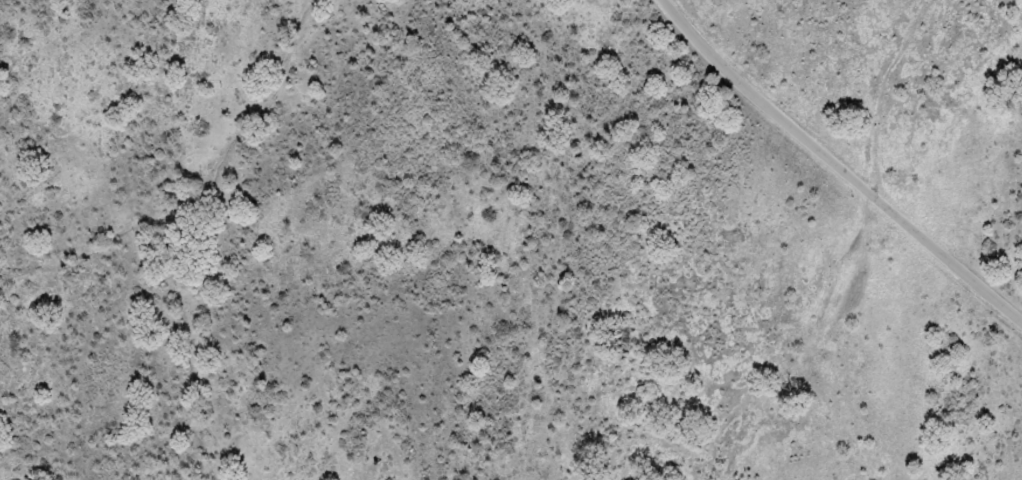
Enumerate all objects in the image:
road: (836, 165)

